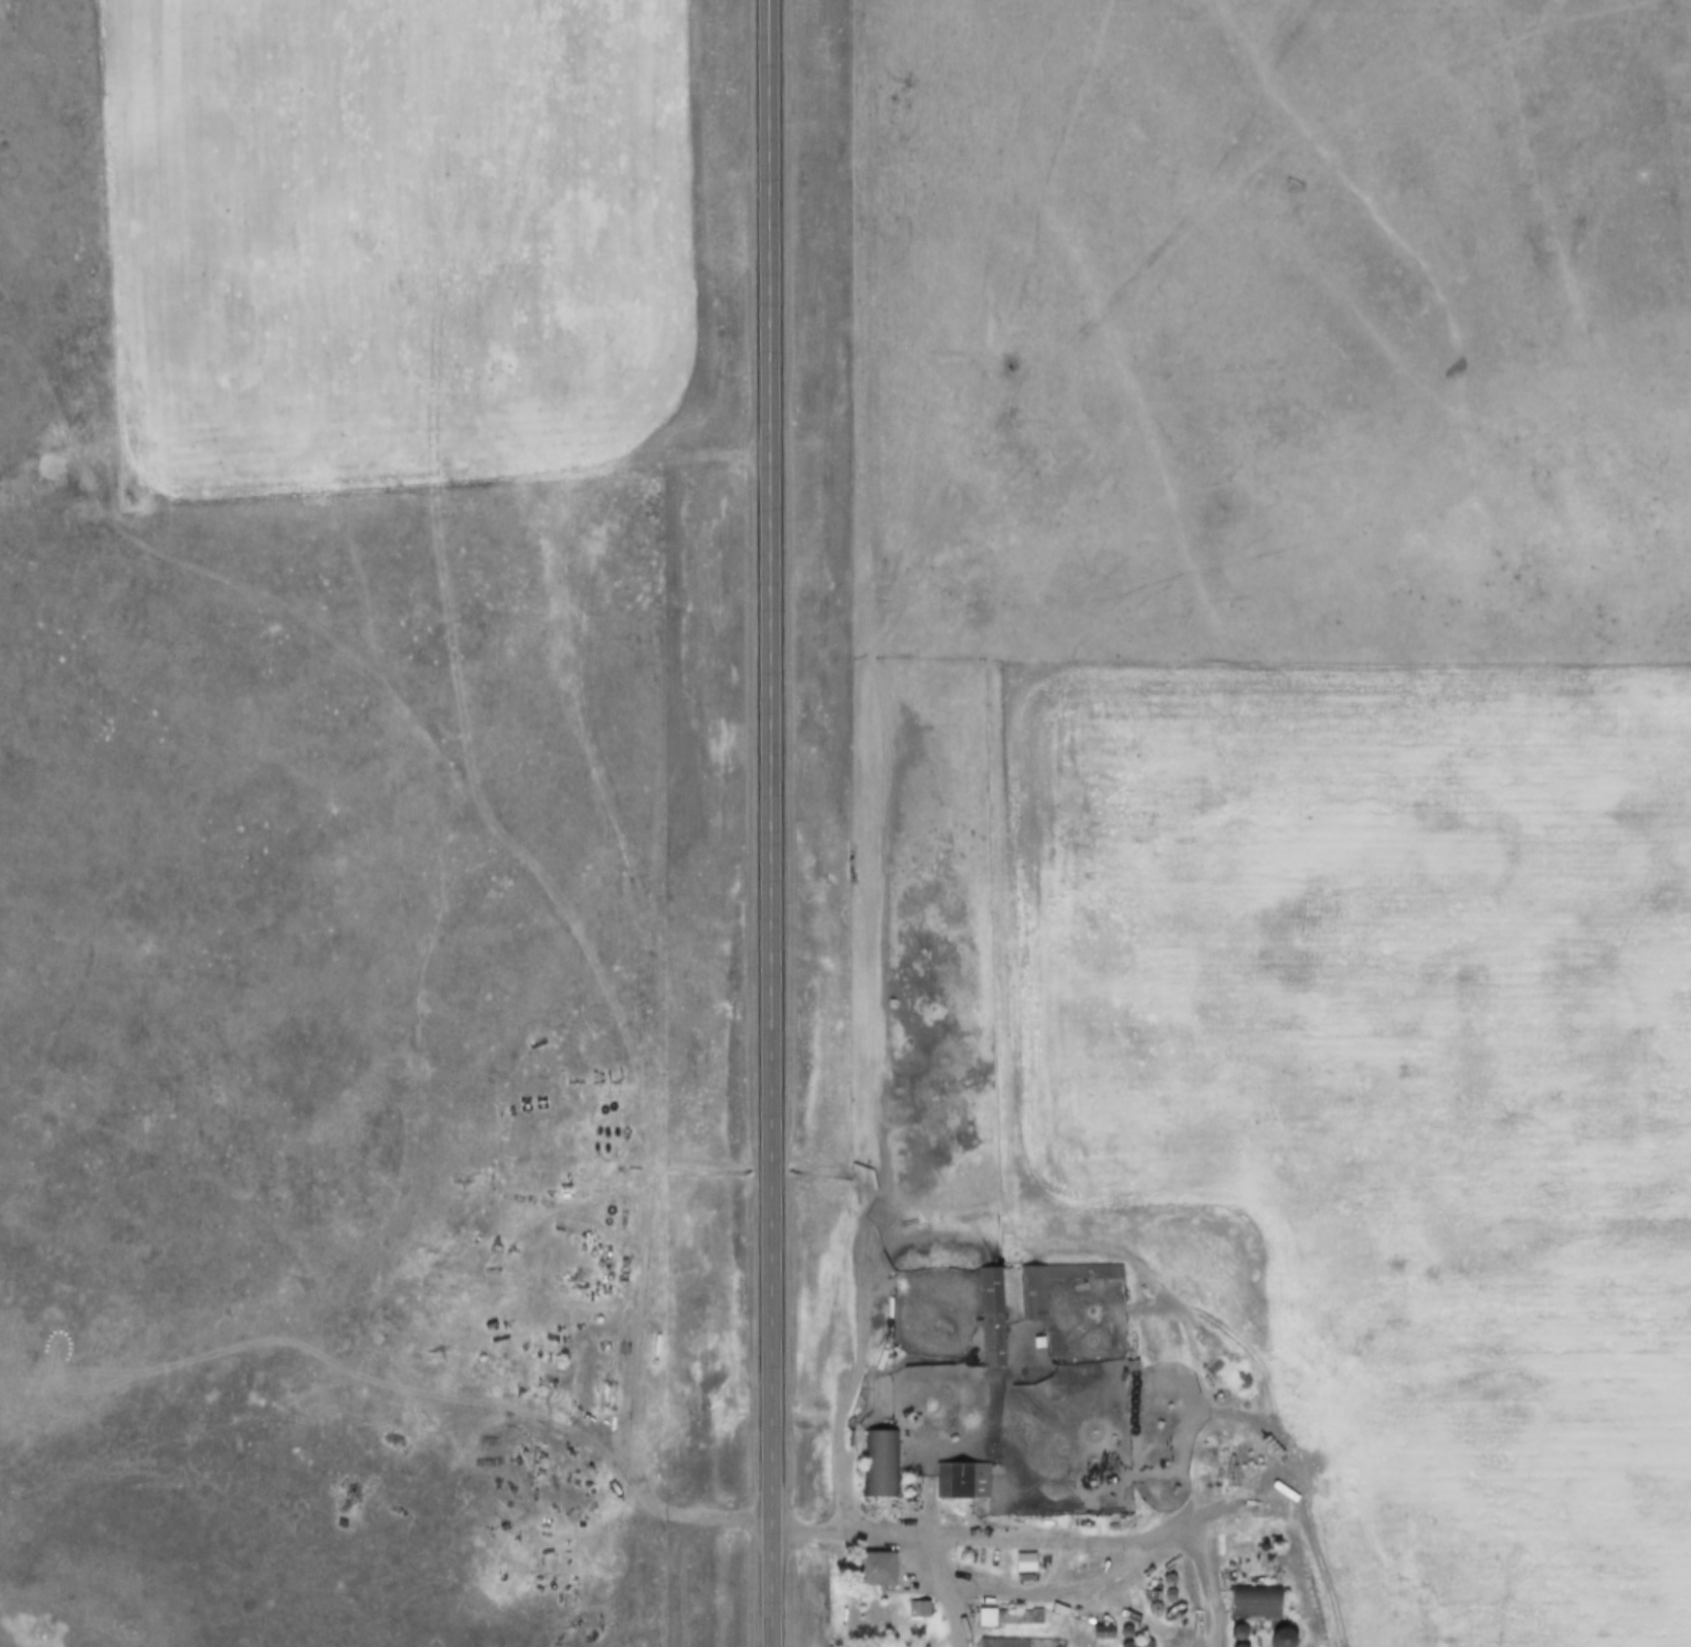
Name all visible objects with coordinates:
road: (773, 823)
road: (1122, 1246)
building: (1035, 1301)
building: (993, 1318)
road: (447, 1410)
building: (883, 1463)
building: (963, 1481)
building: (1025, 1564)
building: (875, 1569)
building: (1256, 1602)
building: (920, 1609)
building: (1011, 1618)
building: (1102, 1633)
building: (1238, 1634)
building: (1282, 1639)
building: (1022, 1643)

